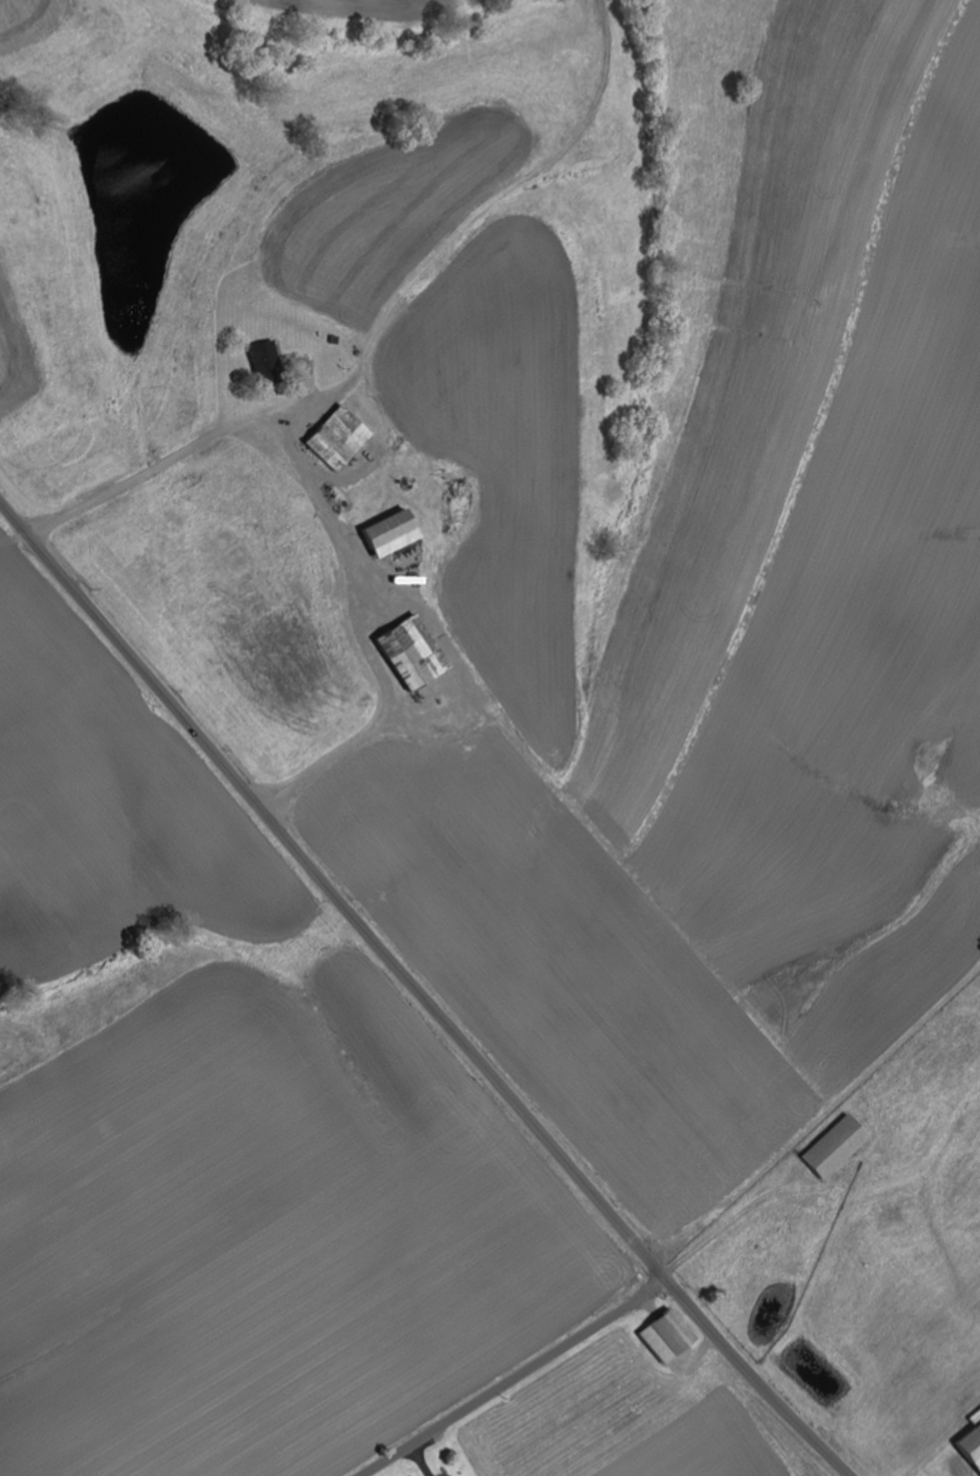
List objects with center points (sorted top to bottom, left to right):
building: (266, 363)
building: (338, 438)
road: (336, 516)
building: (389, 533)
building: (411, 652)
road: (417, 991)
building: (833, 1147)
building: (665, 1336)
road: (512, 1378)

